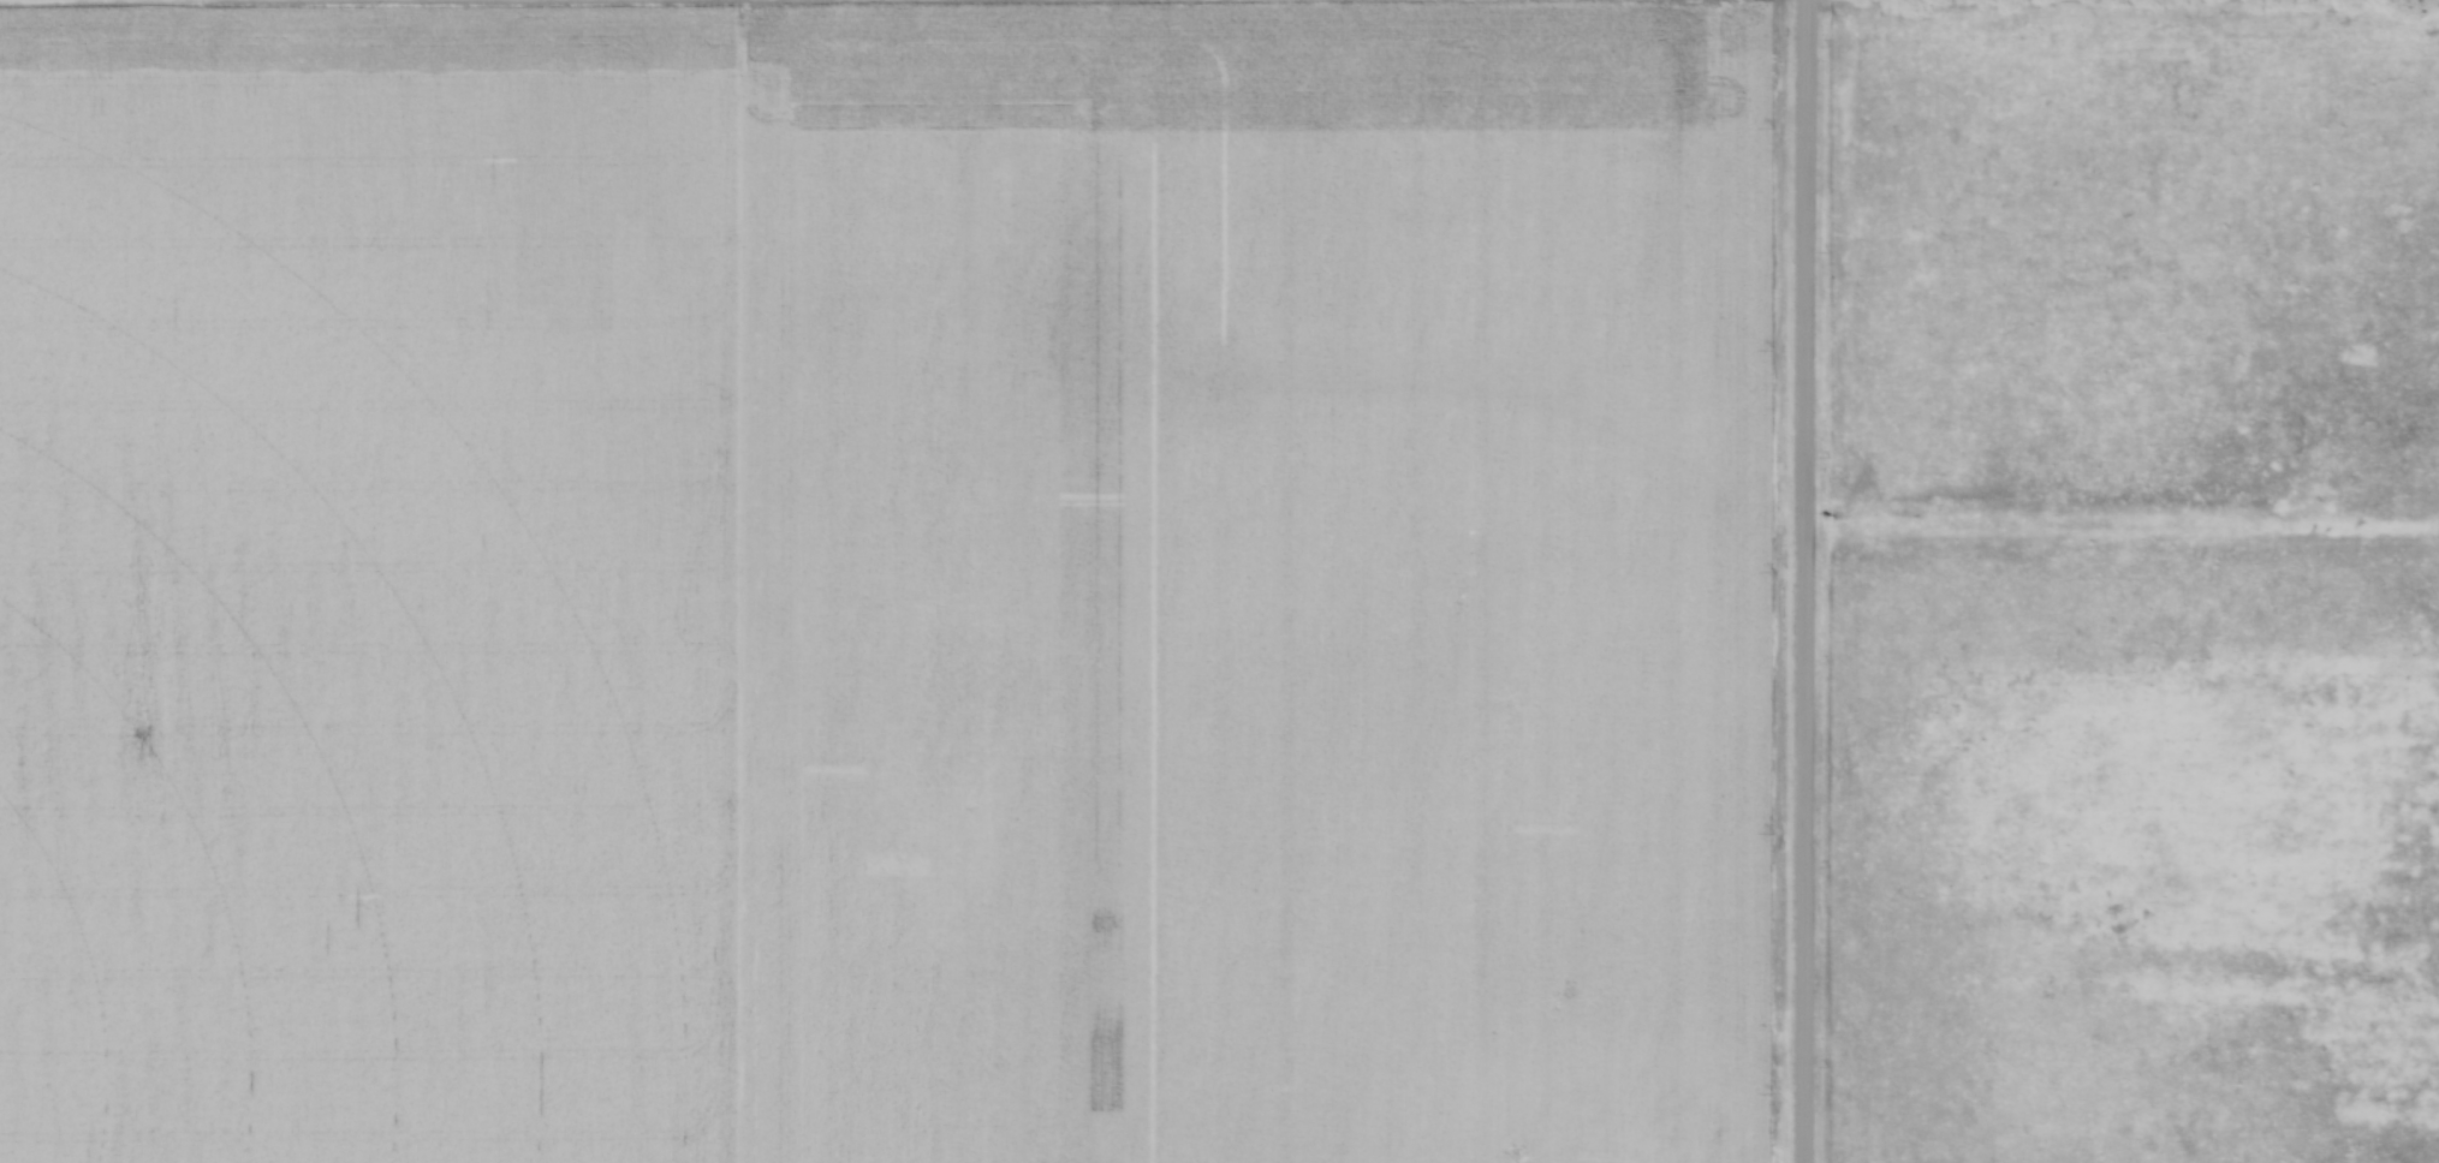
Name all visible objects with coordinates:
road: (1801, 581)

